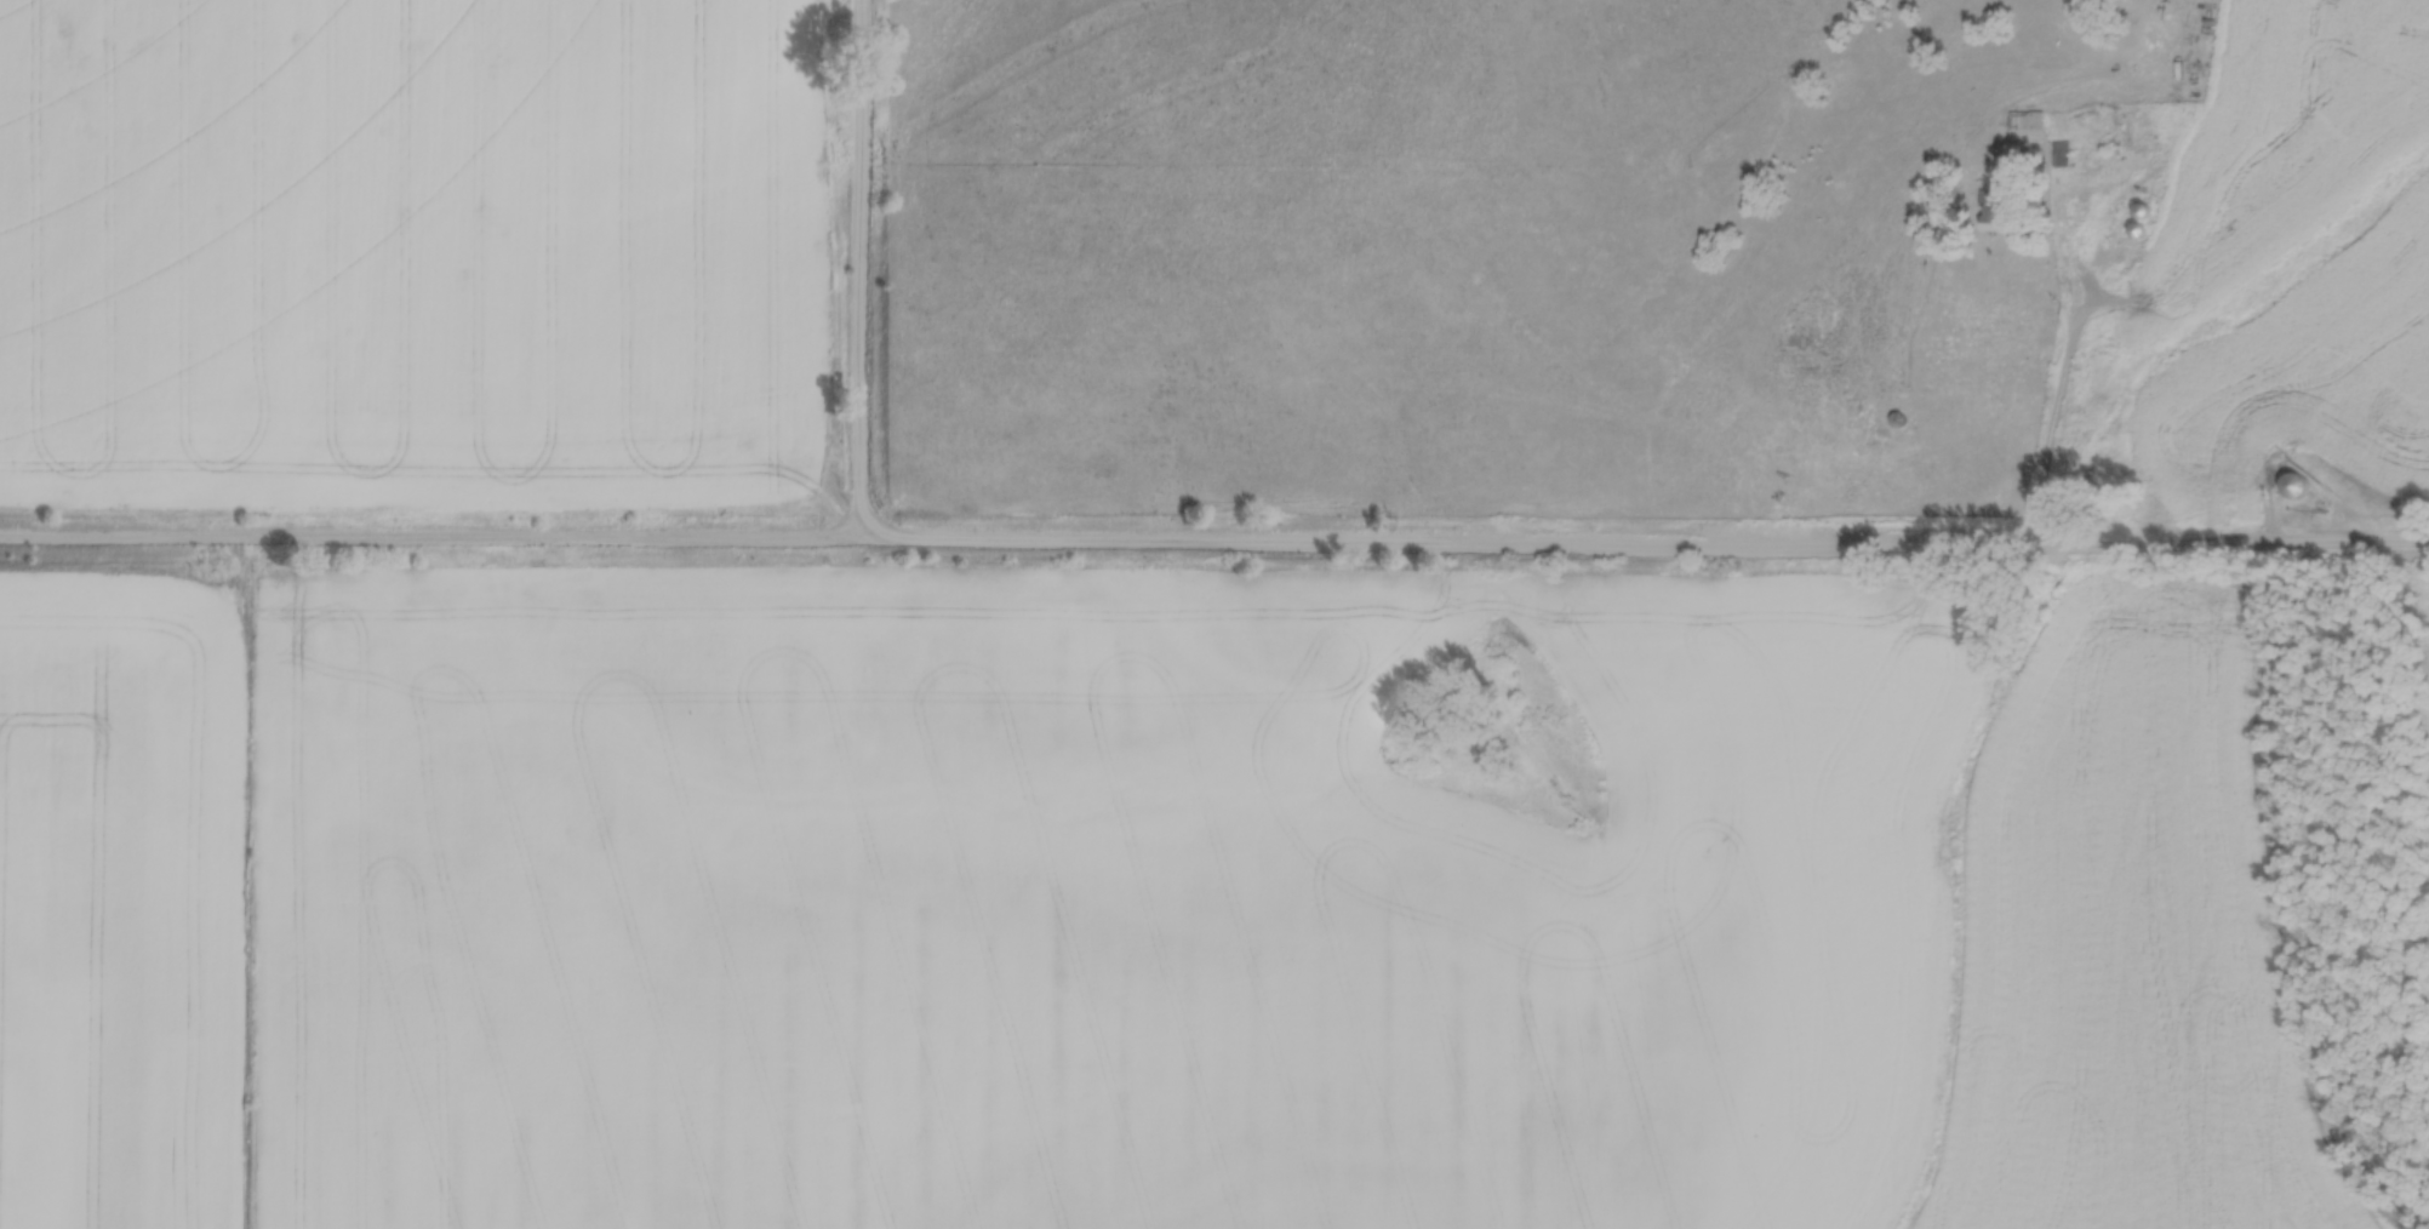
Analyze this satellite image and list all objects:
building: (2025, 115)
building: (2061, 148)
building: (1993, 206)
road: (859, 270)
road: (2065, 367)
building: (2297, 479)
road: (1213, 548)

